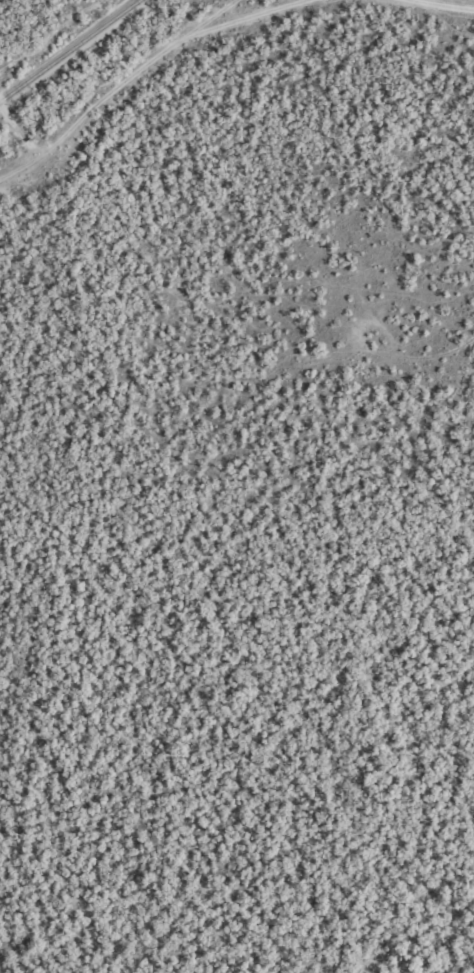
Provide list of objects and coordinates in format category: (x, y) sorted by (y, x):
road: (442, 4)
road: (157, 46)
railway: (67, 49)
road: (20, 156)

